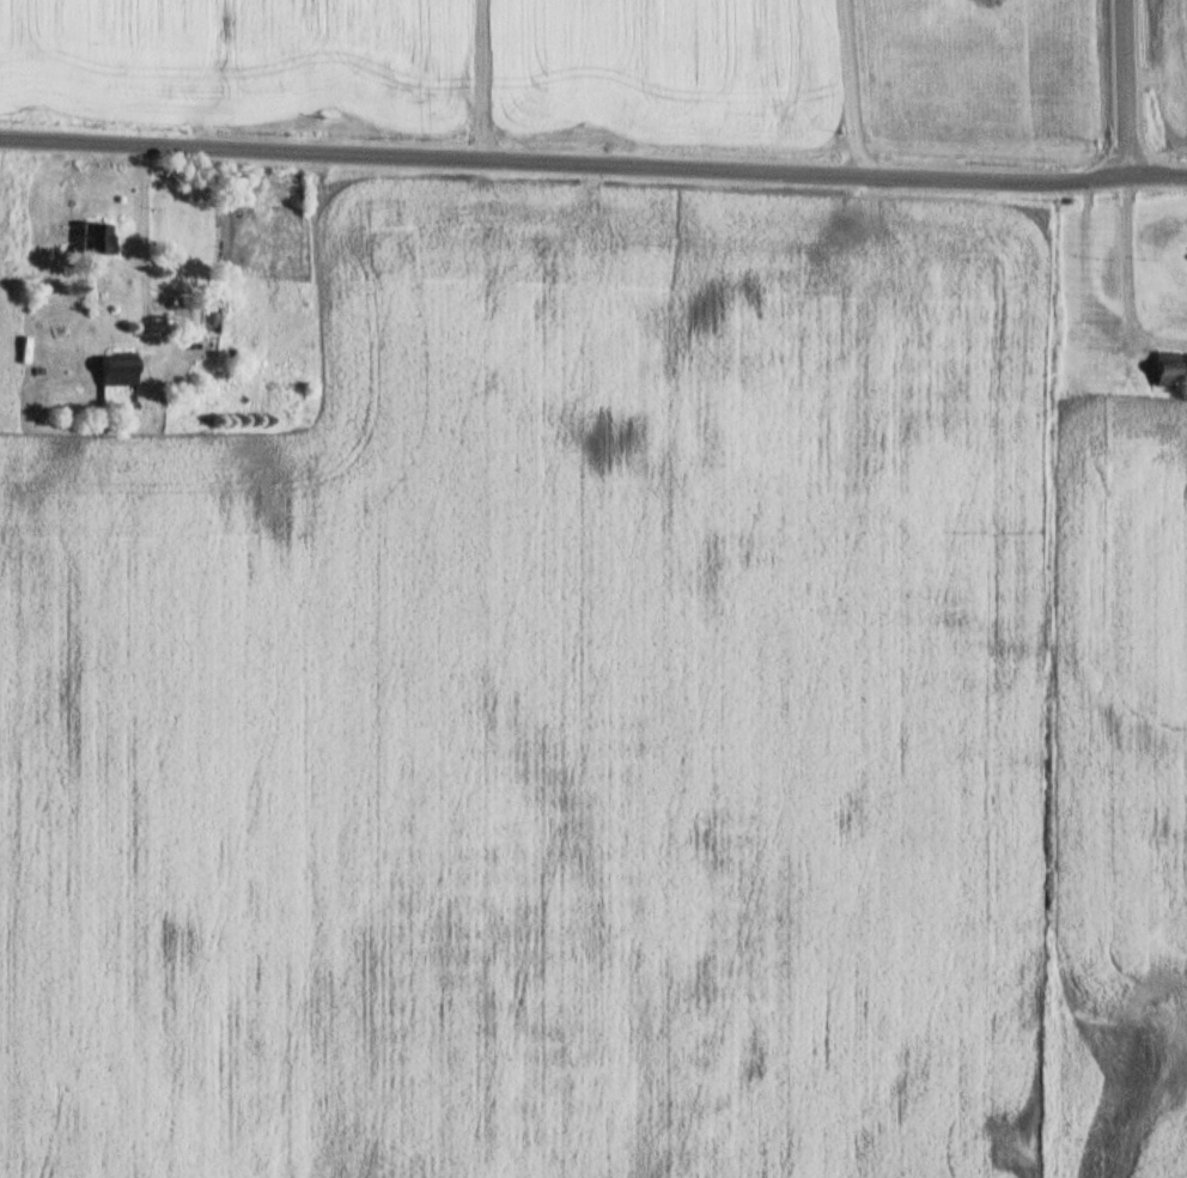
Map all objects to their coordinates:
road: (1128, 89)
road: (592, 166)
building: (102, 239)
building: (1090, 366)
building: (123, 369)
building: (1173, 369)
building: (1148, 414)

